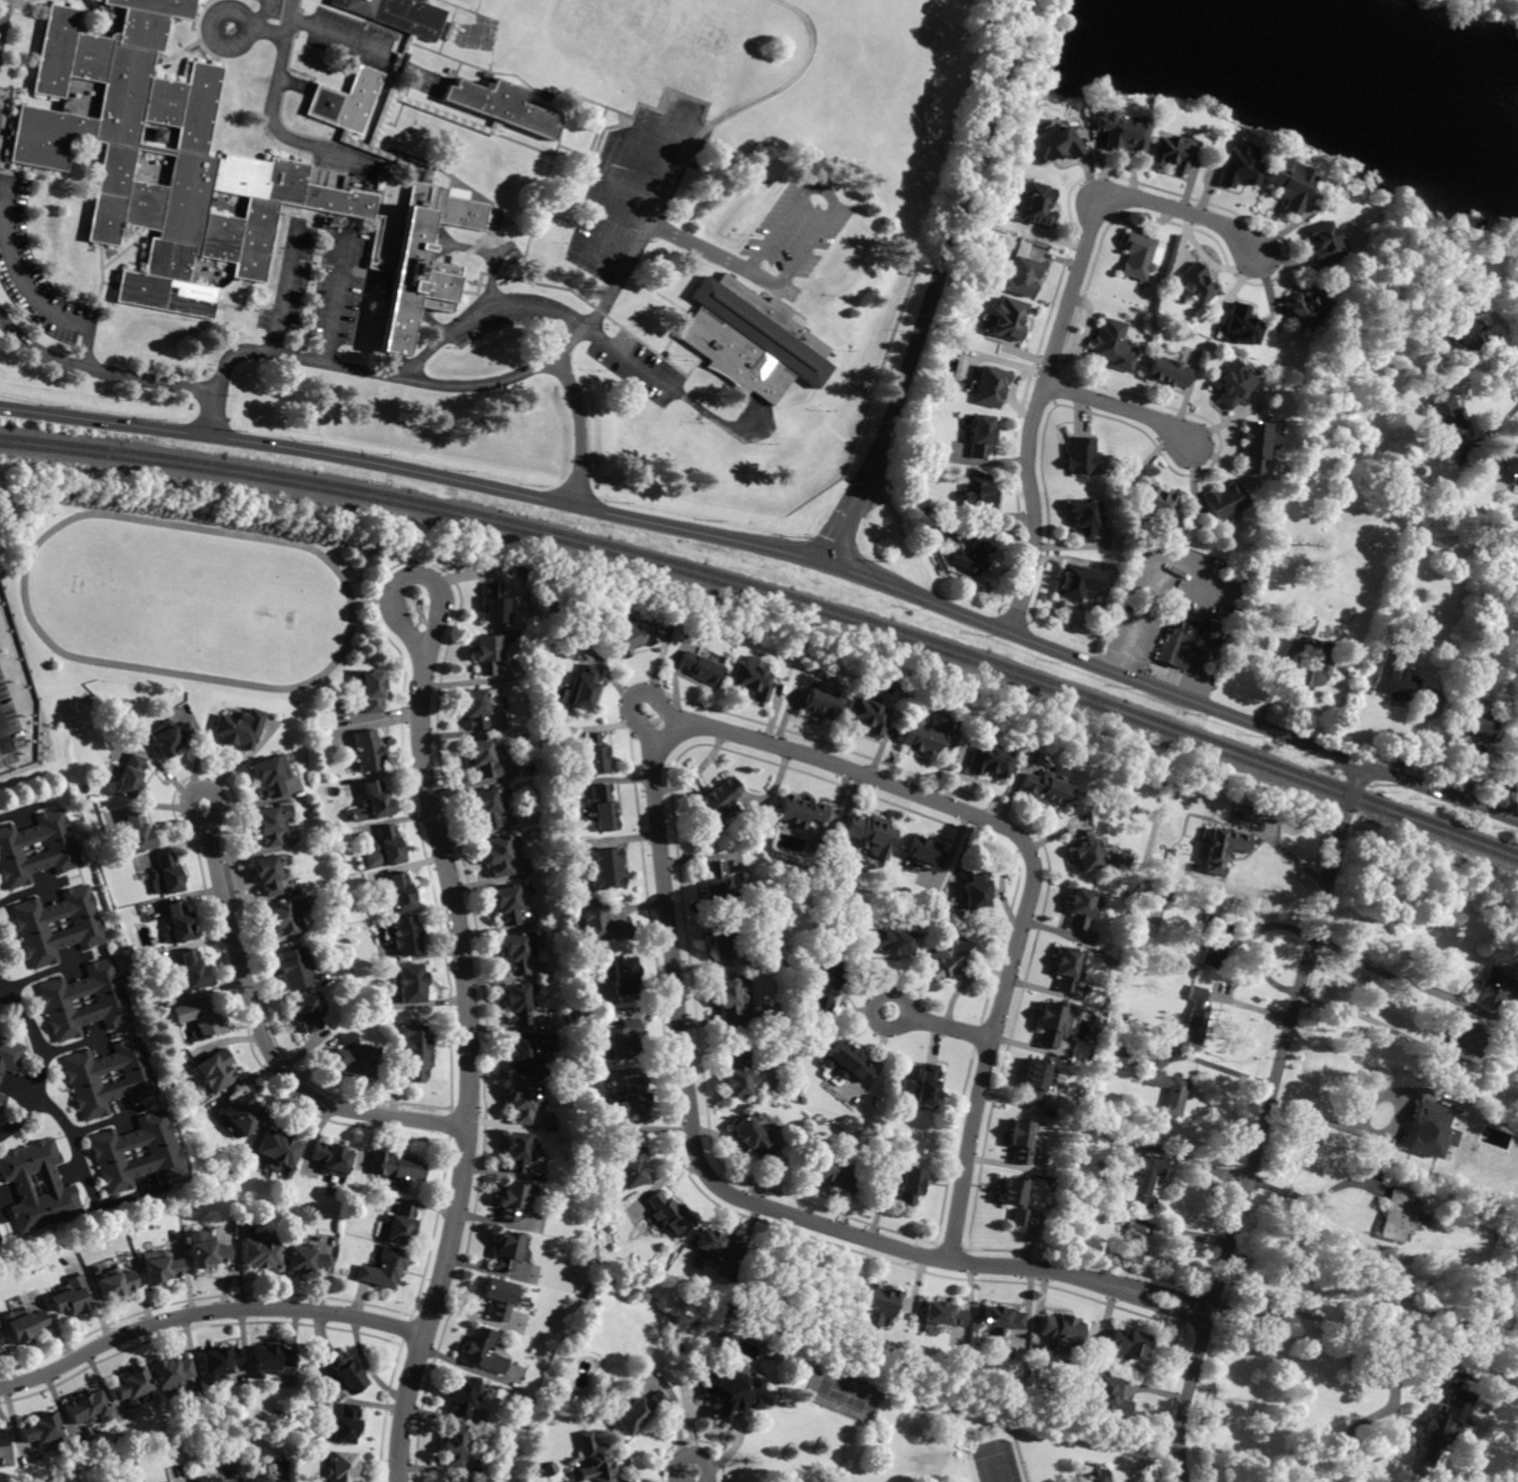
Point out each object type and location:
road: (1, 10)
parking lot: (4, 21)
road: (286, 26)
building: (450, 31)
road: (327, 33)
road: (277, 49)
road: (632, 131)
building: (1121, 131)
building: (158, 134)
building: (1052, 145)
building: (1171, 154)
building: (241, 158)
building: (1239, 165)
building: (1289, 185)
parking lot: (634, 189)
road: (815, 190)
building: (1037, 205)
road: (653, 224)
parking lot: (794, 232)
building: (1323, 241)
building: (1516, 245)
building: (1137, 257)
parking lot: (35, 277)
building: (1022, 277)
road: (934, 281)
parking lot: (316, 283)
building: (1194, 284)
road: (281, 290)
road: (333, 299)
building: (1305, 307)
road: (481, 313)
building: (1008, 319)
building: (1244, 326)
road: (75, 328)
road: (1059, 334)
building: (1470, 336)
building: (752, 340)
building: (1113, 345)
road: (36, 351)
building: (1168, 371)
road: (475, 384)
building: (1231, 385)
building: (990, 386)
road: (1123, 406)
building: (1447, 417)
road: (576, 425)
building: (980, 436)
building: (1257, 446)
building: (1080, 456)
building: (1505, 468)
building: (978, 493)
building: (1226, 502)
building: (1157, 504)
building: (1085, 519)
road: (696, 531)
building: (936, 535)
building: (972, 554)
building: (1078, 583)
railway: (773, 590)
railway: (773, 598)
building: (496, 602)
building: (1312, 612)
building: (1170, 617)
building: (1306, 625)
building: (627, 640)
building: (1180, 647)
building: (488, 653)
building: (1417, 665)
building: (700, 668)
building: (1316, 668)
building: (752, 678)
building: (1394, 678)
building: (583, 687)
building: (372, 691)
road: (634, 695)
building: (823, 702)
building: (475, 708)
building: (868, 714)
building: (1476, 722)
building: (239, 729)
road: (3, 733)
building: (926, 735)
building: (169, 737)
building: (1516, 749)
building: (368, 750)
building: (594, 755)
building: (482, 758)
building: (989, 760)
building: (271, 774)
building: (130, 776)
building: (1048, 789)
road: (1440, 792)
building: (375, 800)
building: (718, 800)
building: (489, 806)
building: (602, 808)
building: (800, 811)
road: (656, 812)
building: (268, 826)
building: (133, 834)
building: (870, 834)
building: (388, 846)
building: (61, 848)
building: (1226, 849)
building: (1086, 851)
road: (1286, 852)
building: (924, 853)
building: (499, 856)
building: (606, 868)
building: (166, 874)
building: (268, 874)
building: (583, 877)
building: (717, 885)
building: (976, 888)
road: (29, 892)
building: (399, 892)
building: (510, 903)
building: (1081, 908)
building: (288, 916)
building: (1153, 920)
building: (600, 922)
building: (176, 923)
building: (32, 925)
building: (406, 936)
building: (722, 938)
building: (1215, 939)
building: (894, 941)
building: (518, 953)
building: (949, 960)
building: (293, 968)
building: (1068, 969)
road: (1383, 970)
building: (189, 971)
building: (622, 974)
building: (824, 982)
building: (411, 983)
building: (1496, 988)
building: (62, 996)
building: (729, 1001)
building: (517, 1003)
building: (305, 1012)
building: (1071, 1013)
building: (199, 1017)
building: (1195, 1017)
road: (1370, 1021)
road: (942, 1024)
building: (1053, 1024)
road: (263, 1036)
building: (624, 1039)
road: (471, 1041)
building: (1465, 1041)
road: (75, 1046)
building: (414, 1051)
building: (529, 1051)
building: (1126, 1053)
building: (10, 1055)
building: (356, 1060)
road: (39, 1061)
building: (846, 1062)
road: (1215, 1068)
building: (215, 1070)
building: (738, 1076)
building: (84, 1077)
building: (1035, 1079)
building: (925, 1086)
road: (1343, 1088)
building: (1167, 1091)
building: (631, 1099)
building: (2, 1100)
building: (524, 1102)
building: (241, 1114)
road: (1263, 1121)
road: (104, 1122)
building: (1429, 1128)
building: (752, 1135)
road: (76, 1138)
building: (1021, 1141)
building: (1454, 1143)
building: (279, 1147)
building: (113, 1149)
building: (517, 1151)
building: (331, 1158)
building: (395, 1167)
building: (631, 1168)
building: (829, 1169)
building: (1142, 1177)
building: (52, 1186)
building: (910, 1186)
road: (1312, 1198)
building: (1014, 1199)
building: (515, 1200)
building: (669, 1214)
building: (1395, 1214)
building: (400, 1224)
building: (0, 1239)
building: (0, 1242)
building: (1129, 1245)
building: (716, 1246)
building: (509, 1251)
building: (208, 1253)
building: (262, 1253)
building: (306, 1259)
building: (160, 1267)
building: (385, 1268)
building: (114, 1284)
building: (70, 1296)
building: (500, 1298)
building: (879, 1302)
road: (207, 1312)
building: (944, 1314)
road: (1315, 1316)
building: (1001, 1320)
building: (744, 1323)
building: (24, 1324)
building: (1061, 1331)
building: (1128, 1344)
building: (0, 1347)
building: (791, 1351)
building: (483, 1352)
building: (270, 1360)
building: (221, 1361)
building: (346, 1372)
building: (171, 1373)
building: (130, 1386)
building: (729, 1391)
building: (463, 1395)
building: (1109, 1396)
building: (85, 1409)
building: (638, 1411)
building: (344, 1425)
building: (38, 1430)
building: (1440, 1432)
building: (2, 1438)
building: (456, 1446)
road: (1148, 1456)
building: (596, 1461)
building: (343, 1467)
building: (549, 1470)
building: (1095, 1474)
road: (697, 1476)
building: (208, 1479)
building: (263, 1479)
building: (459, 1479)
building: (232, 1481)
building: (279, 1481)

